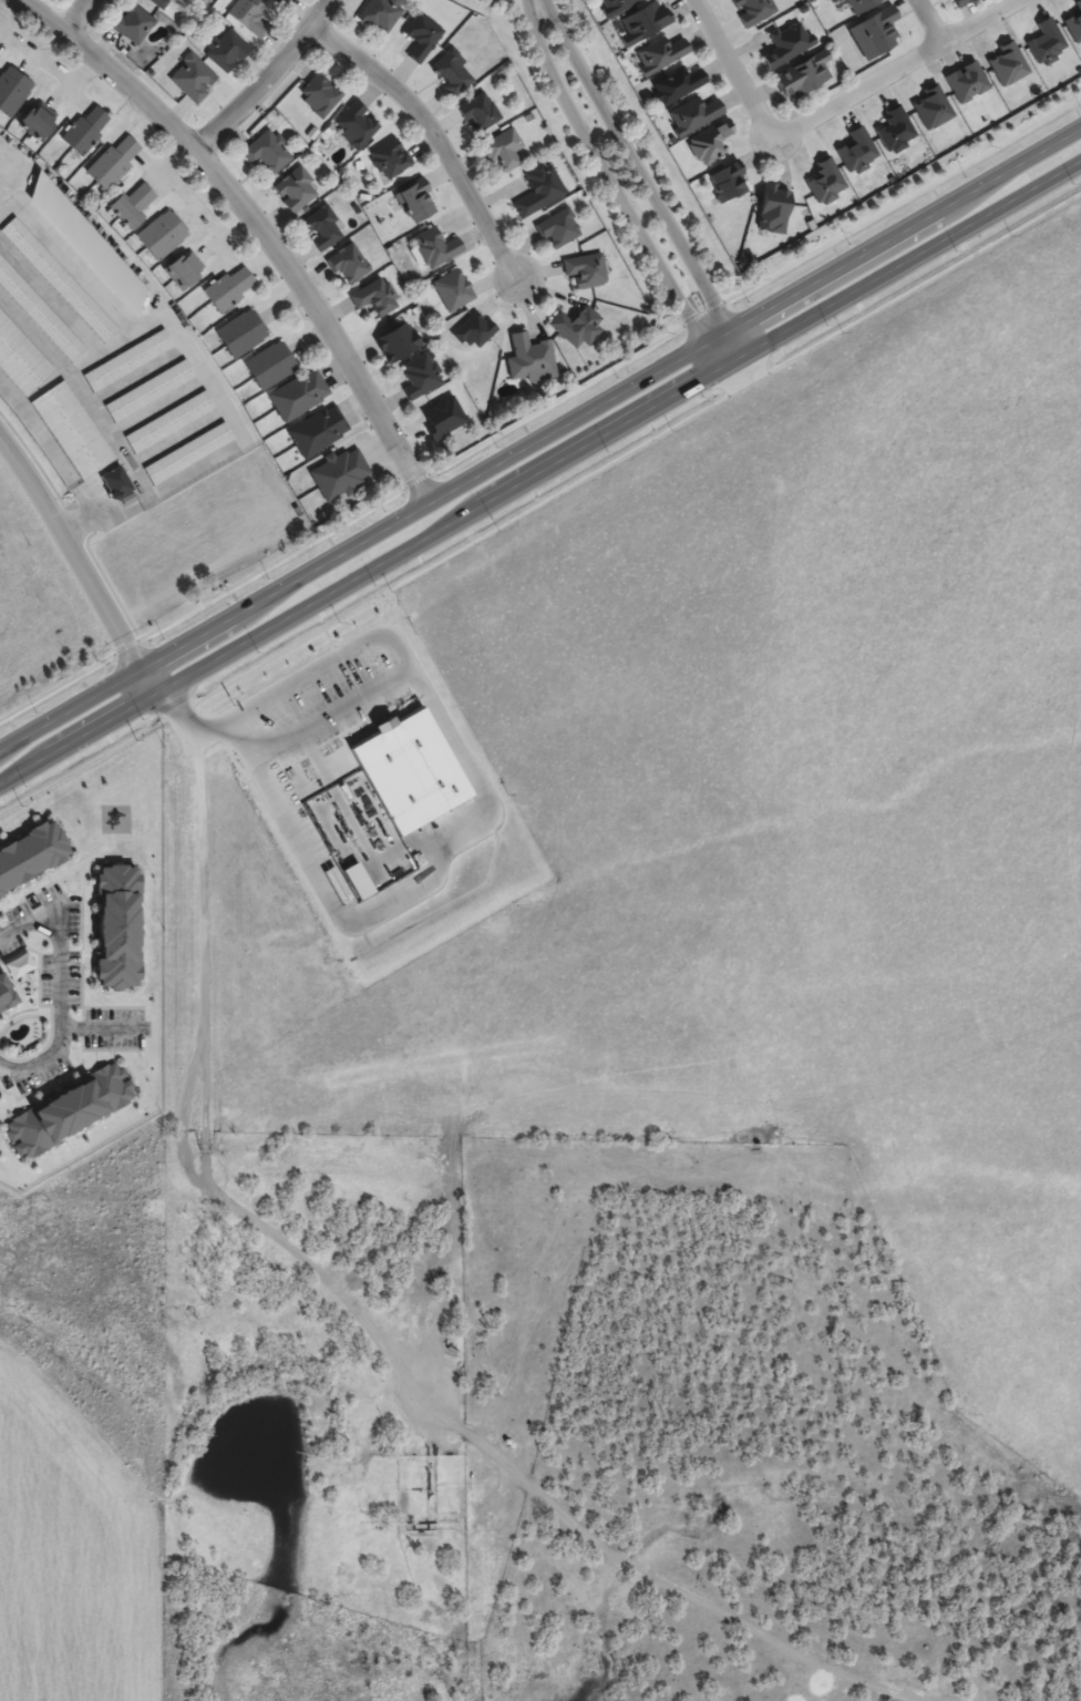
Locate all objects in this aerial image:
building: (226, 0)
building: (277, 0)
building: (282, 1)
building: (158, 2)
building: (958, 2)
building: (859, 4)
building: (614, 6)
building: (801, 8)
building: (209, 10)
building: (753, 10)
road: (80, 13)
building: (379, 13)
building: (247, 14)
building: (642, 21)
road: (930, 21)
building: (132, 22)
building: (1073, 23)
building: (873, 33)
building: (421, 35)
building: (1044, 42)
building: (785, 44)
building: (226, 50)
building: (659, 53)
building: (1007, 63)
road: (737, 69)
road: (896, 69)
building: (451, 71)
building: (802, 73)
building: (500, 74)
road: (269, 76)
building: (192, 78)
building: (966, 81)
building: (677, 84)
building: (12, 90)
building: (319, 94)
building: (931, 106)
building: (477, 111)
building: (693, 114)
building: (527, 116)
building: (38, 120)
building: (354, 125)
building: (327, 129)
building: (894, 129)
building: (84, 130)
building: (312, 133)
road: (435, 135)
building: (300, 146)
building: (502, 148)
building: (856, 150)
building: (267, 151)
building: (389, 157)
building: (112, 162)
building: (358, 164)
road: (635, 165)
road: (606, 175)
building: (825, 181)
building: (727, 182)
building: (295, 188)
building: (538, 188)
building: (363, 196)
building: (414, 199)
building: (132, 204)
building: (772, 207)
building: (810, 224)
road: (258, 225)
building: (321, 226)
building: (557, 227)
building: (161, 234)
building: (86, 243)
building: (434, 246)
building: (390, 248)
building: (347, 263)
building: (585, 269)
building: (183, 270)
building: (59, 278)
building: (228, 287)
building: (452, 289)
building: (374, 296)
building: (414, 309)
building: (39, 312)
building: (576, 326)
building: (240, 332)
building: (397, 341)
road: (192, 350)
building: (475, 352)
road: (744, 352)
building: (20, 358)
building: (531, 358)
building: (127, 359)
building: (269, 365)
road: (718, 367)
building: (481, 368)
building: (420, 376)
building: (148, 390)
building: (298, 393)
road: (540, 409)
building: (168, 421)
building: (71, 429)
building: (317, 431)
road: (539, 437)
road: (49, 448)
building: (187, 452)
road: (539, 470)
building: (339, 473)
building: (114, 482)
road: (539, 503)
road: (78, 524)
road: (72, 551)
road: (153, 678)
road: (179, 715)
road: (331, 715)
building: (410, 770)
road: (487, 812)
building: (117, 814)
road: (114, 816)
building: (114, 822)
road: (111, 823)
building: (30, 853)
road: (62, 875)
building: (357, 880)
building: (116, 928)
building: (19, 965)
road: (61, 990)
building: (6, 993)
road: (104, 1028)
building: (68, 1110)
road: (377, 1336)

